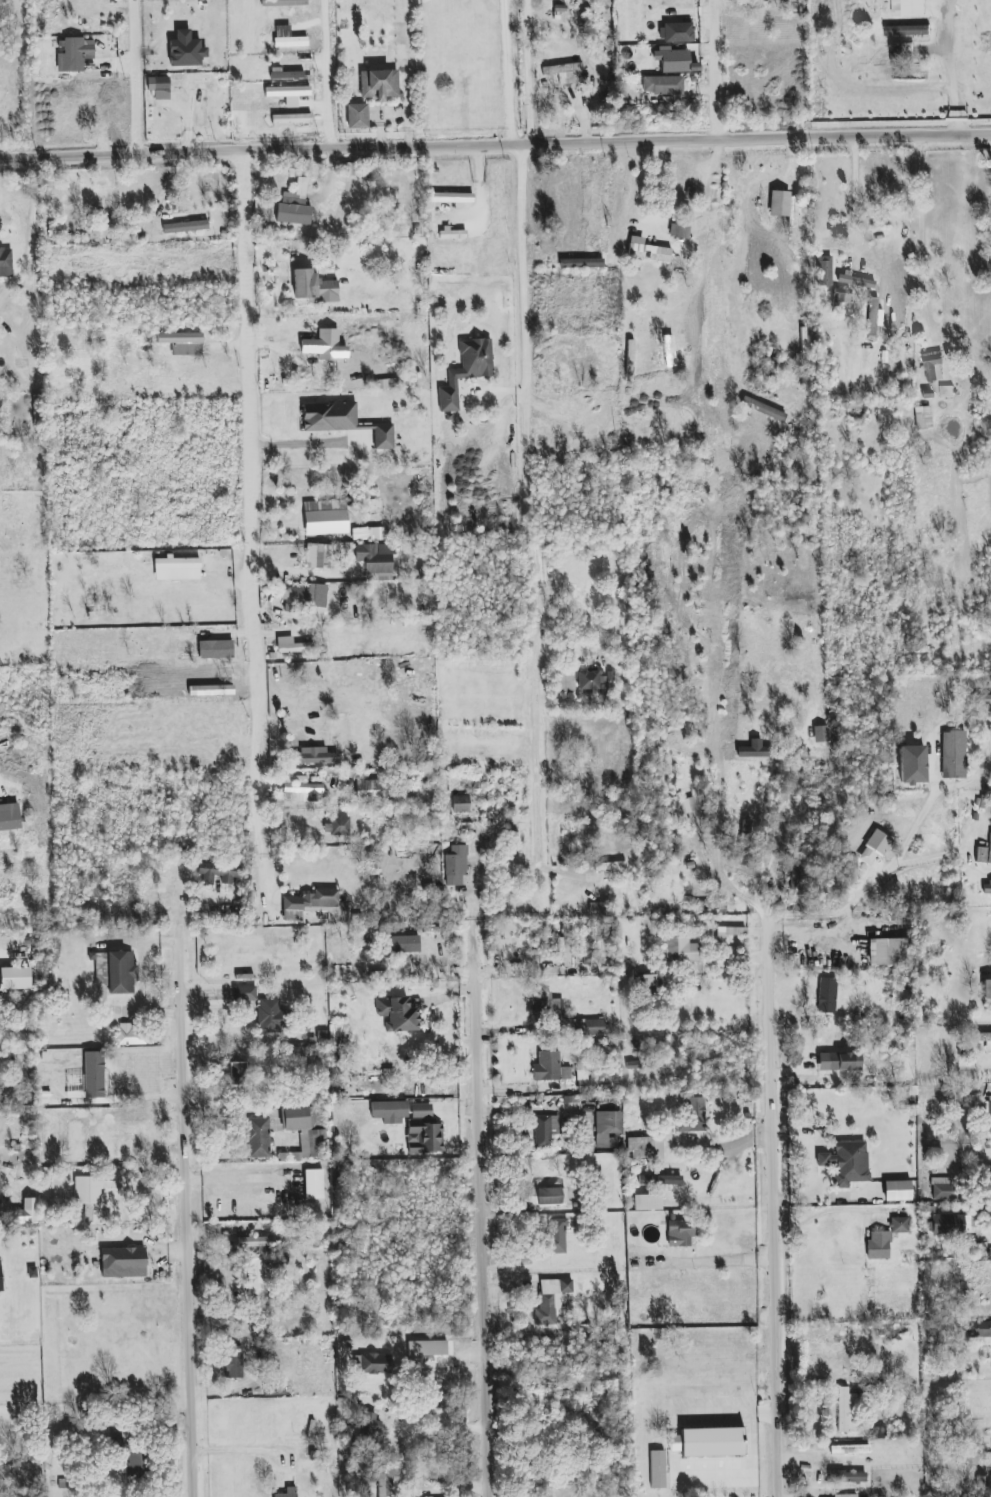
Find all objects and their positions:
building: (908, 7)
building: (907, 30)
building: (677, 32)
building: (186, 50)
building: (902, 53)
building: (73, 54)
building: (672, 60)
road: (950, 66)
road: (717, 69)
road: (528, 71)
road: (507, 72)
building: (563, 72)
road: (325, 73)
building: (285, 74)
road: (136, 76)
building: (379, 84)
building: (663, 85)
building: (159, 86)
building: (287, 91)
building: (357, 116)
building: (291, 119)
road: (495, 145)
road: (657, 183)
building: (679, 183)
road: (854, 194)
building: (450, 197)
building: (779, 203)
building: (294, 206)
road: (707, 214)
building: (185, 227)
building: (57, 230)
building: (679, 230)
road: (30, 232)
building: (453, 233)
road: (921, 235)
building: (649, 253)
building: (5, 263)
building: (581, 263)
building: (824, 271)
building: (856, 281)
building: (314, 287)
building: (872, 316)
building: (697, 331)
building: (183, 343)
building: (325, 346)
building: (33, 347)
building: (932, 366)
building: (466, 370)
building: (698, 371)
building: (329, 416)
building: (923, 418)
building: (383, 436)
road: (530, 504)
road: (250, 515)
building: (326, 522)
building: (367, 534)
building: (318, 556)
building: (375, 557)
building: (177, 569)
building: (313, 595)
building: (296, 597)
building: (292, 646)
building: (215, 649)
building: (589, 679)
building: (563, 682)
building: (983, 699)
building: (338, 732)
building: (753, 750)
building: (953, 755)
building: (314, 756)
building: (300, 789)
building: (367, 790)
road: (931, 794)
building: (460, 804)
building: (681, 810)
building: (9, 820)
road: (781, 825)
building: (337, 826)
building: (744, 842)
building: (878, 842)
building: (984, 853)
road: (928, 857)
building: (456, 866)
building: (604, 866)
building: (219, 873)
building: (796, 875)
road: (722, 884)
building: (310, 904)
building: (711, 906)
building: (729, 933)
building: (563, 949)
building: (681, 950)
building: (887, 951)
building: (116, 972)
building: (15, 978)
building: (644, 981)
building: (986, 988)
building: (244, 993)
building: (827, 995)
building: (548, 1008)
building: (397, 1014)
building: (270, 1016)
building: (589, 1027)
building: (131, 1034)
building: (985, 1040)
building: (839, 1061)
building: (550, 1067)
building: (389, 1109)
building: (421, 1111)
building: (989, 1112)
building: (693, 1116)
road: (133, 1117)
building: (299, 1117)
building: (608, 1128)
building: (545, 1130)
building: (258, 1137)
building: (424, 1139)
building: (309, 1146)
road: (726, 1150)
building: (645, 1151)
building: (846, 1163)
building: (660, 1180)
building: (313, 1184)
building: (944, 1188)
building: (87, 1190)
building: (897, 1191)
building: (546, 1196)
building: (647, 1202)
road: (775, 1208)
road: (482, 1211)
building: (26, 1212)
building: (88, 1213)
road: (190, 1214)
building: (947, 1224)
building: (899, 1225)
building: (680, 1233)
building: (556, 1236)
building: (259, 1242)
building: (878, 1245)
road: (722, 1259)
building: (123, 1262)
building: (282, 1265)
building: (0, 1278)
building: (257, 1278)
building: (550, 1300)
building: (983, 1329)
building: (832, 1334)
building: (425, 1352)
building: (233, 1362)
building: (375, 1363)
building: (846, 1410)
road: (443, 1420)
building: (370, 1426)
building: (709, 1442)
road: (243, 1450)
building: (134, 1462)
building: (657, 1470)
building: (847, 1477)
building: (384, 1485)
building: (288, 1492)
building: (845, 1495)

